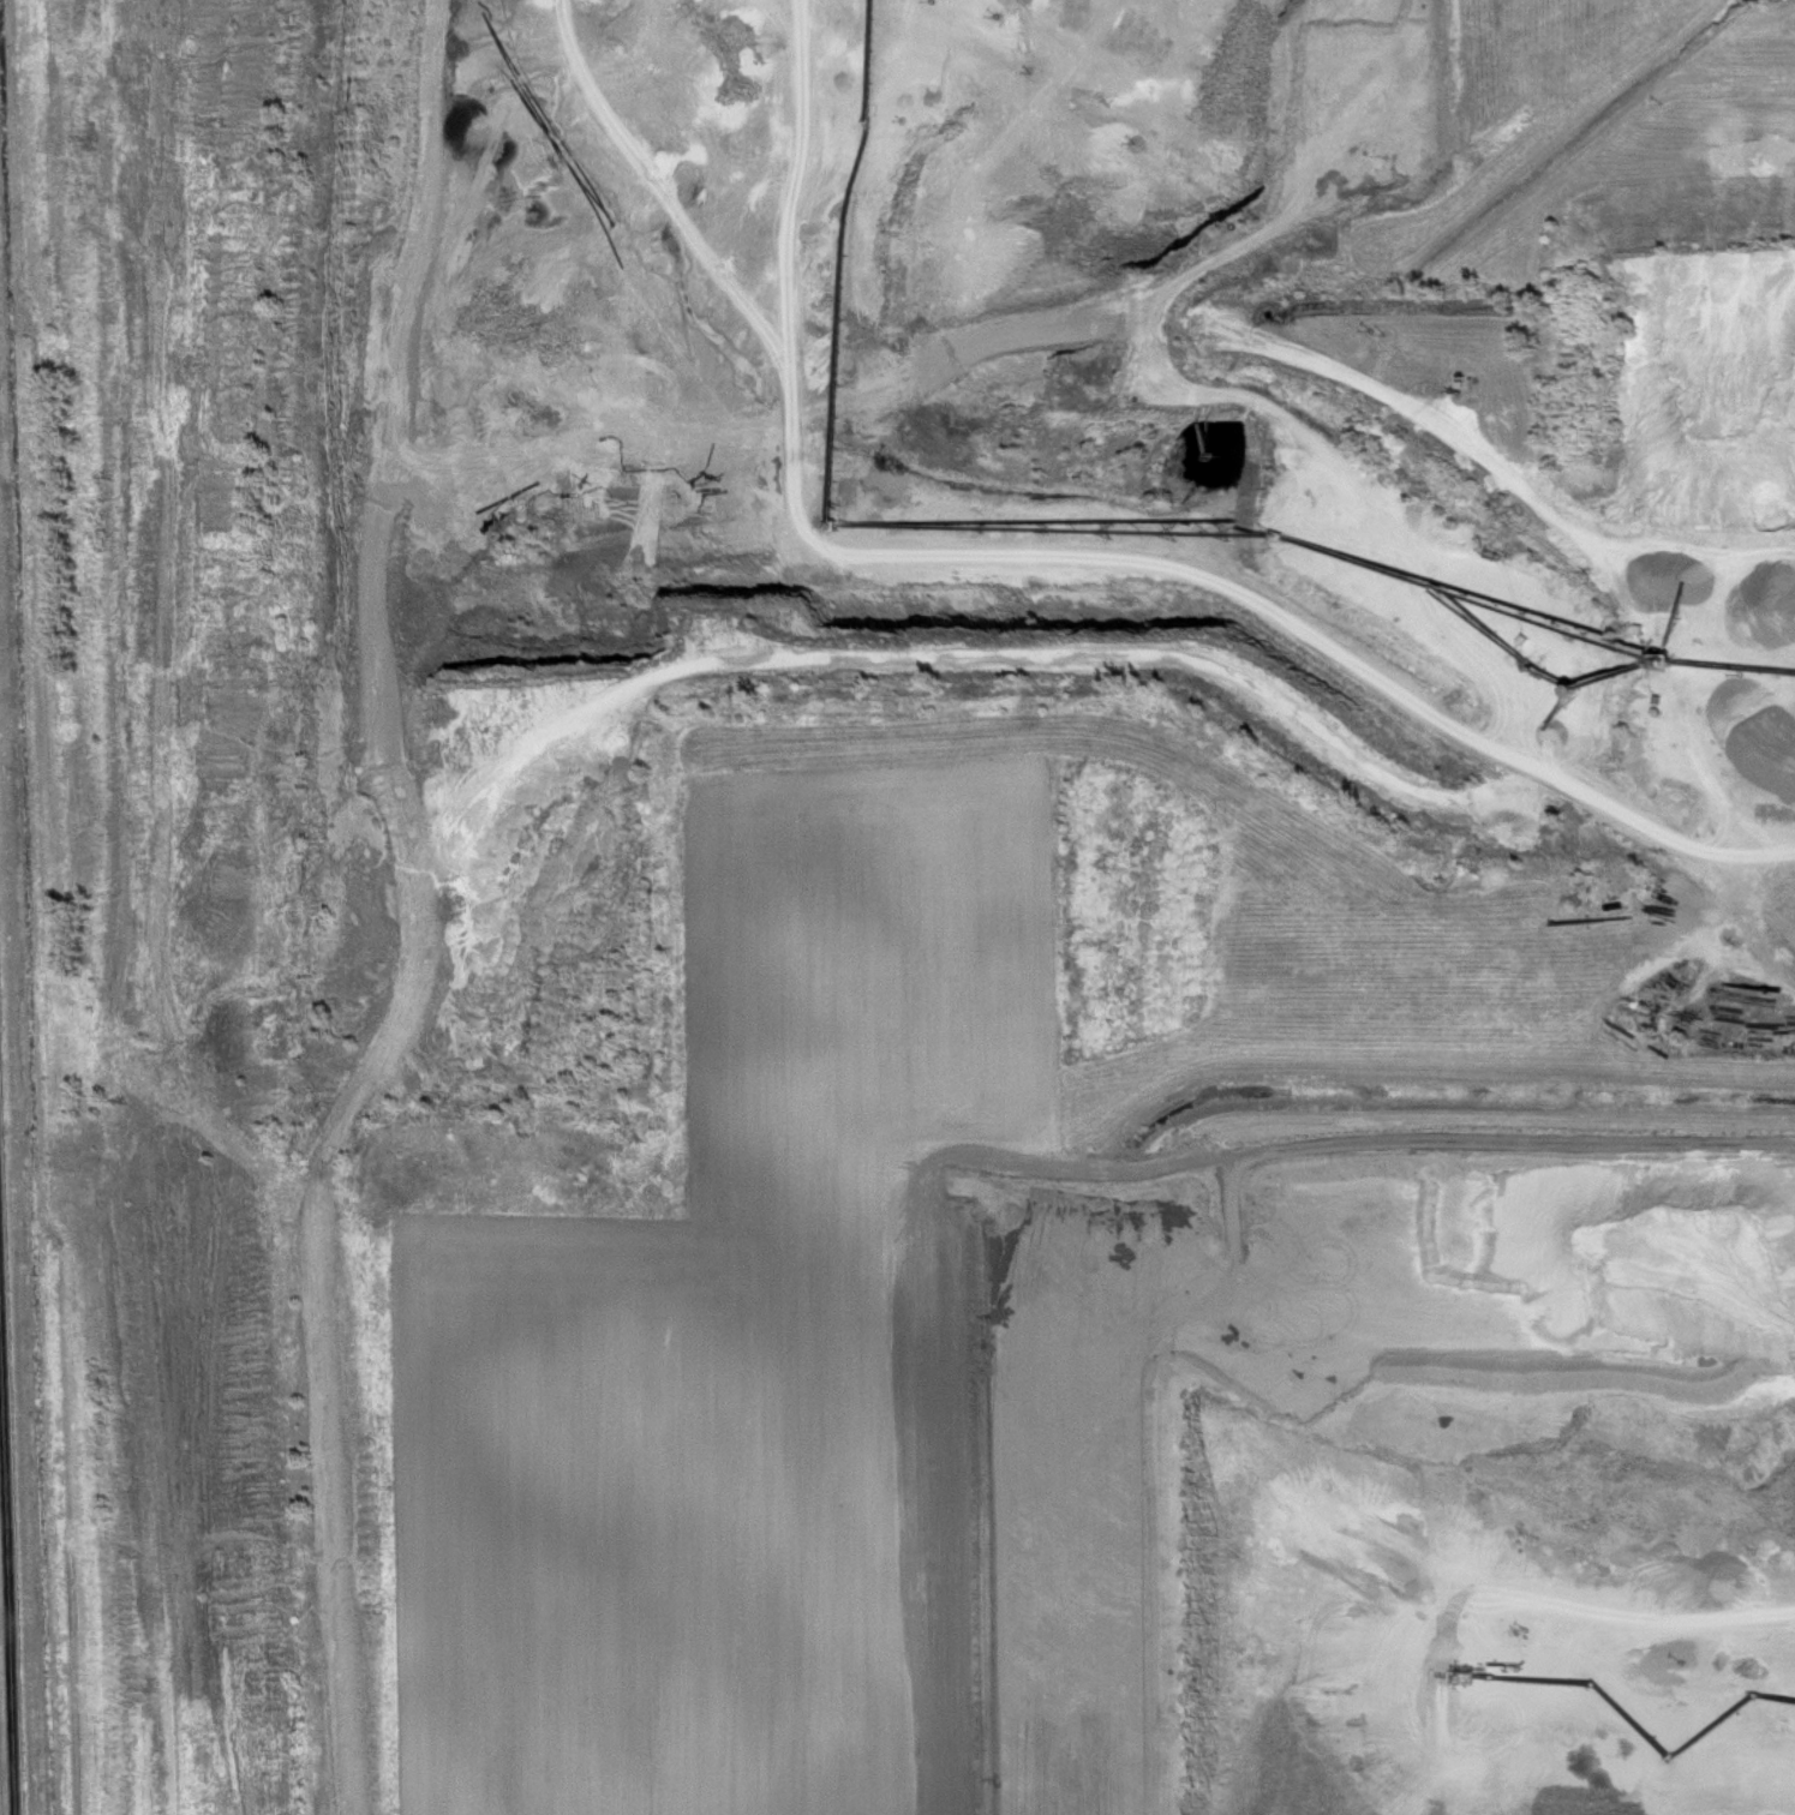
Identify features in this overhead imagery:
quarry: (803, 804)
quarry: (1444, 1464)
road: (7, 1557)

